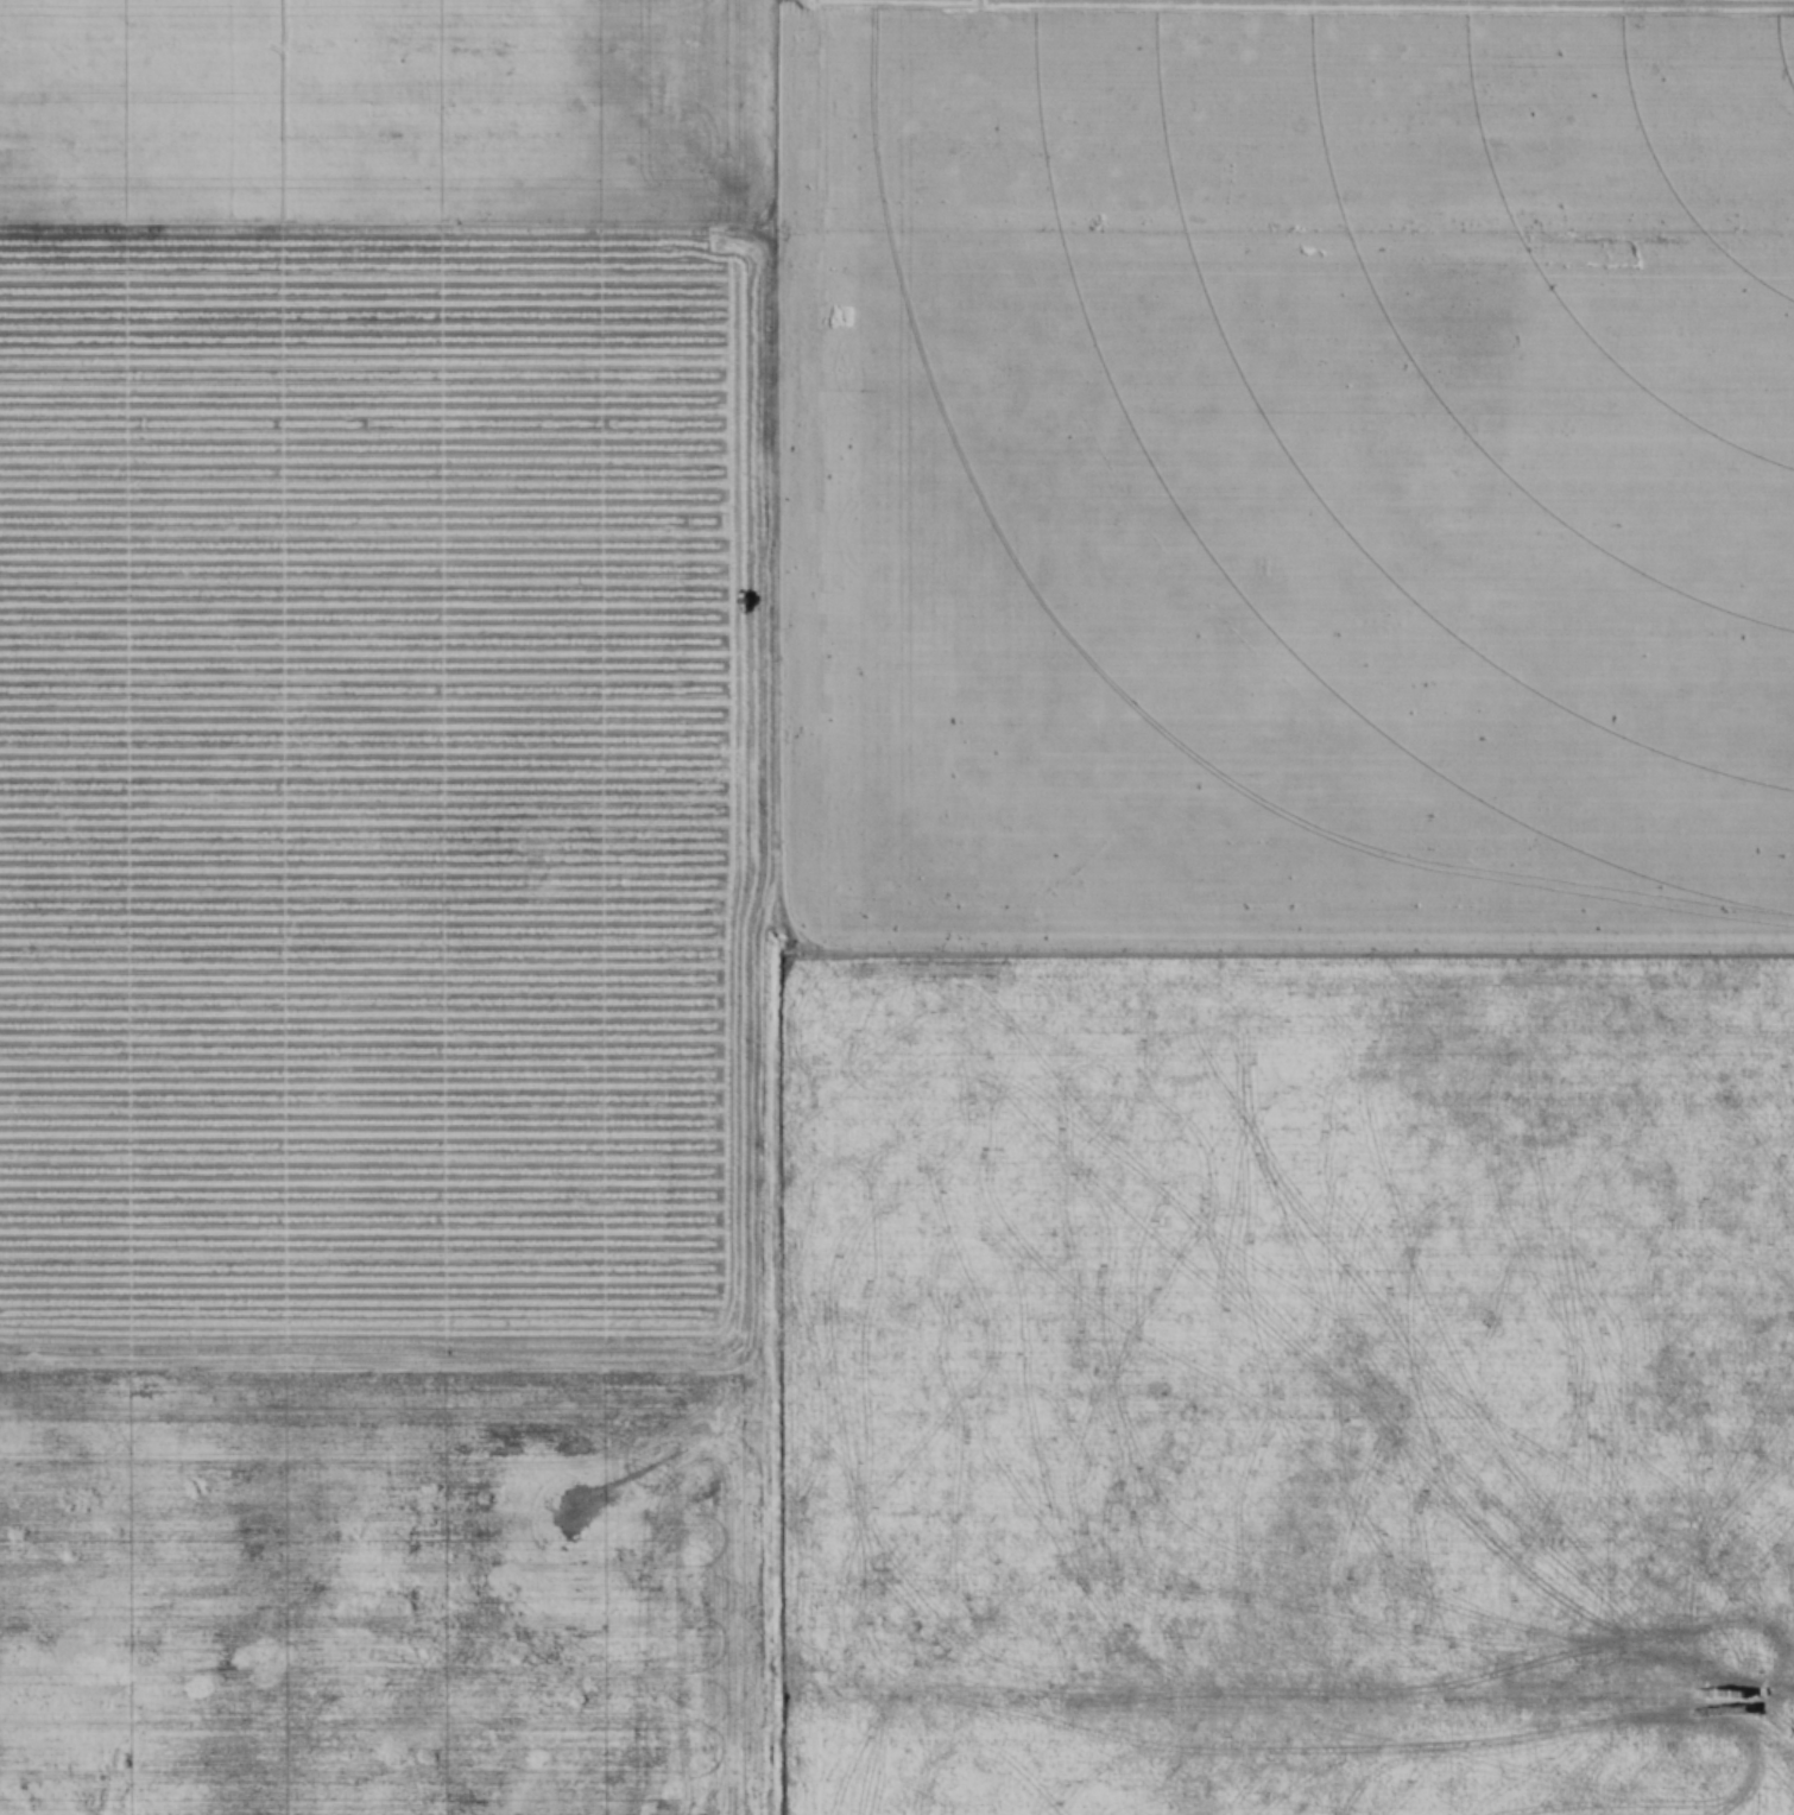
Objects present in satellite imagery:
building: (1741, 1712)

